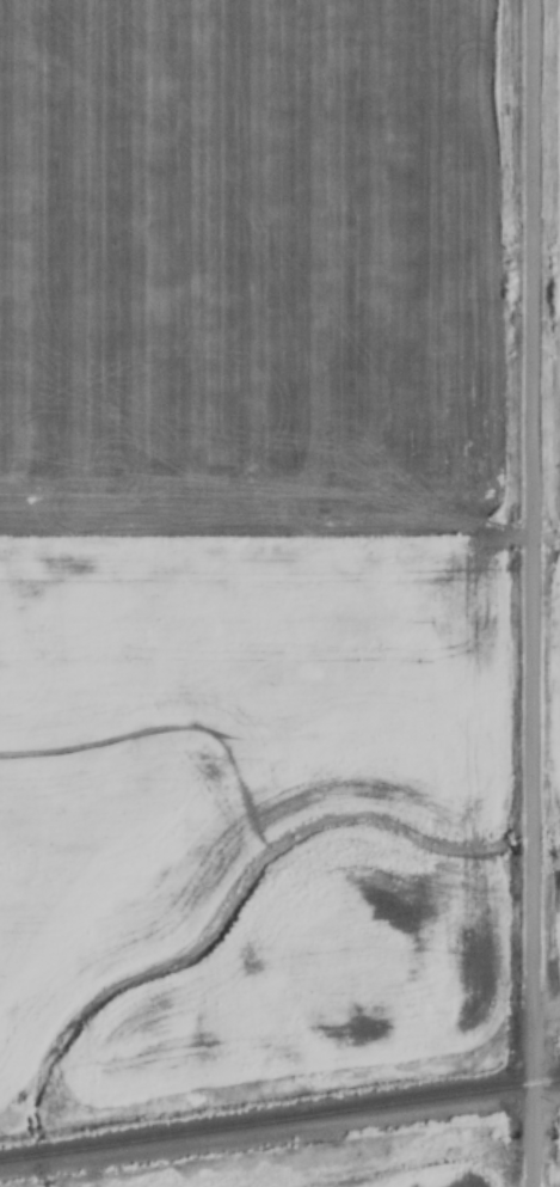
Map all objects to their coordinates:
road: (535, 593)
railway: (279, 1119)

